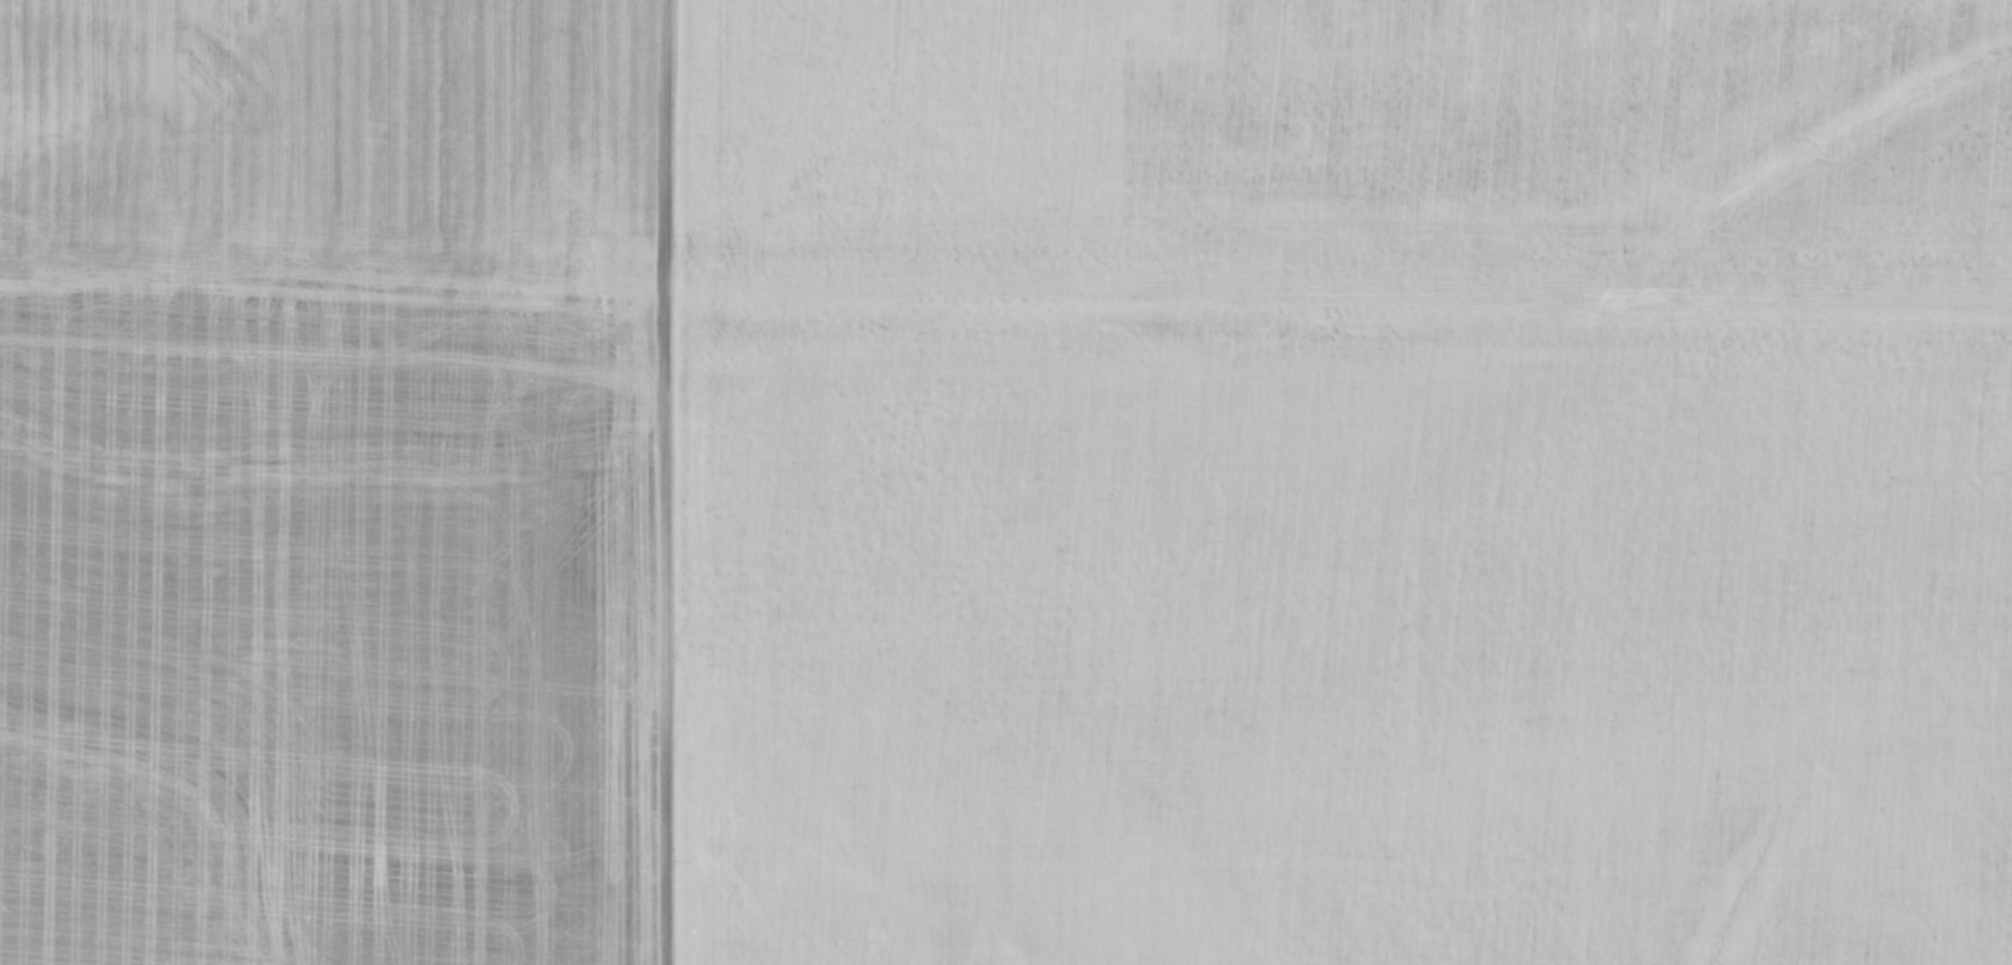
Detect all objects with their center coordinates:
road: (662, 482)

